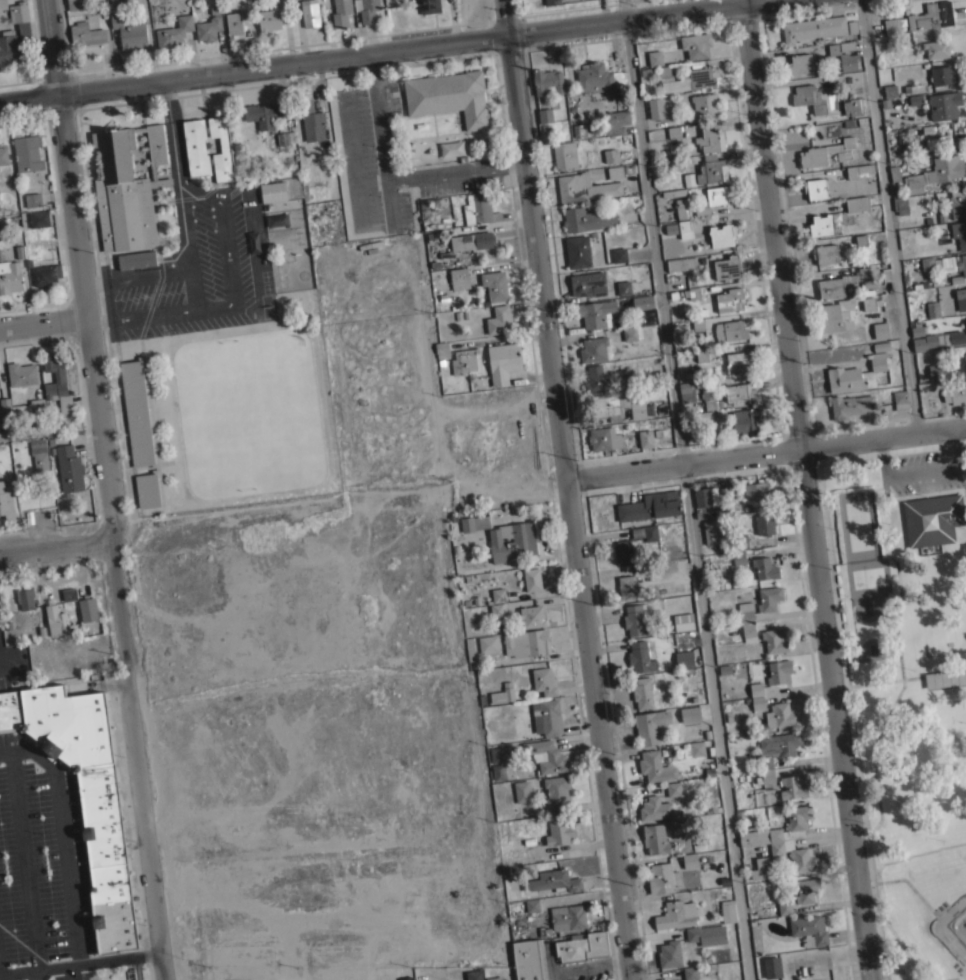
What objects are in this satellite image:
building: (552, 2)
building: (3, 4)
building: (73, 5)
building: (427, 5)
building: (366, 9)
building: (341, 12)
building: (309, 13)
building: (0, 16)
building: (931, 16)
building: (269, 20)
building: (209, 25)
building: (234, 25)
building: (891, 25)
building: (814, 29)
building: (128, 30)
building: (174, 32)
building: (15, 34)
building: (85, 34)
building: (696, 45)
building: (936, 48)
road: (378, 51)
building: (844, 54)
building: (655, 58)
building: (799, 63)
building: (942, 75)
building: (598, 77)
building: (687, 78)
building: (838, 80)
building: (547, 82)
building: (913, 88)
building: (889, 90)
building: (449, 96)
building: (808, 98)
building: (915, 99)
building: (706, 105)
building: (944, 105)
building: (853, 106)
building: (663, 112)
building: (266, 114)
building: (544, 115)
building: (307, 121)
building: (615, 121)
building: (583, 130)
building: (673, 132)
building: (282, 137)
building: (710, 140)
building: (195, 147)
building: (221, 149)
building: (27, 152)
building: (825, 152)
road: (174, 154)
building: (3, 155)
road: (349, 155)
building: (564, 155)
building: (610, 155)
building: (676, 163)
building: (711, 169)
building: (857, 170)
building: (611, 172)
building: (894, 172)
building: (935, 173)
road: (391, 178)
building: (584, 187)
building: (126, 188)
building: (815, 188)
building: (273, 192)
building: (673, 192)
building: (31, 198)
building: (0, 199)
building: (713, 199)
road: (355, 200)
road: (391, 202)
building: (431, 202)
building: (857, 203)
building: (958, 203)
building: (900, 204)
building: (681, 208)
building: (479, 209)
road: (889, 217)
building: (38, 218)
building: (586, 218)
building: (821, 225)
building: (366, 227)
building: (671, 228)
building: (684, 228)
building: (959, 233)
building: (722, 234)
building: (481, 239)
building: (861, 240)
road: (187, 249)
building: (577, 252)
building: (825, 253)
building: (618, 254)
building: (136, 260)
building: (926, 262)
building: (681, 264)
building: (962, 264)
building: (726, 267)
road: (136, 273)
building: (45, 274)
parking lot: (190, 275)
building: (10, 276)
building: (437, 276)
building: (458, 278)
building: (840, 283)
building: (587, 284)
building: (494, 285)
building: (623, 287)
building: (693, 292)
building: (960, 298)
building: (730, 299)
road: (214, 302)
building: (642, 302)
building: (870, 303)
building: (933, 309)
building: (596, 313)
building: (835, 315)
building: (498, 319)
building: (965, 321)
road: (43, 324)
building: (698, 324)
building: (730, 330)
building: (880, 330)
building: (629, 333)
building: (954, 338)
building: (919, 344)
building: (596, 349)
building: (701, 355)
building: (458, 358)
building: (964, 359)
building: (738, 361)
building: (502, 362)
building: (935, 371)
building: (21, 373)
building: (855, 374)
building: (594, 379)
building: (56, 382)
building: (686, 391)
building: (740, 392)
building: (952, 393)
building: (708, 395)
building: (900, 399)
building: (4, 403)
building: (850, 405)
building: (28, 407)
building: (614, 407)
building: (138, 412)
building: (744, 420)
building: (51, 424)
building: (713, 430)
building: (604, 438)
building: (645, 438)
building: (39, 455)
road: (764, 455)
building: (69, 468)
road: (922, 470)
parking lot: (923, 472)
building: (149, 489)
road: (805, 489)
road: (105, 490)
road: (565, 490)
road: (686, 490)
building: (756, 491)
building: (724, 493)
building: (705, 496)
building: (6, 499)
building: (650, 506)
building: (928, 519)
building: (474, 523)
building: (764, 524)
park: (860, 525)
building: (645, 532)
building: (709, 532)
building: (511, 541)
building: (738, 542)
road: (55, 548)
building: (623, 551)
building: (757, 565)
building: (532, 579)
building: (627, 587)
building: (498, 595)
building: (25, 597)
building: (768, 598)
building: (87, 609)
building: (496, 610)
building: (532, 616)
building: (636, 619)
building: (56, 620)
building: (747, 620)
building: (683, 621)
park: (871, 628)
building: (774, 641)
building: (488, 643)
building: (526, 643)
building: (469, 648)
building: (640, 657)
building: (684, 658)
building: (778, 671)
building: (945, 677)
building: (544, 681)
building: (756, 689)
park: (908, 689)
building: (642, 692)
building: (497, 696)
building: (756, 702)
building: (690, 713)
building: (781, 715)
building: (546, 717)
building: (650, 725)
building: (781, 743)
building: (696, 748)
building: (545, 756)
building: (654, 766)
building: (766, 771)
building: (792, 786)
building: (556, 789)
building: (522, 791)
building: (84, 795)
building: (659, 803)
building: (559, 831)
road: (61, 836)
building: (655, 839)
building: (785, 839)
building: (517, 844)
road: (23, 860)
building: (690, 860)
parking lot: (41, 869)
building: (761, 869)
building: (661, 878)
building: (555, 881)
building: (807, 889)
building: (532, 905)
building: (784, 905)
building: (727, 911)
building: (676, 914)
building: (567, 917)
building: (809, 930)
building: (706, 935)
building: (582, 947)
park: (955, 952)
building: (669, 954)
building: (528, 959)
road: (78, 963)
road: (590, 965)
building: (772, 967)
road: (137, 968)
road: (71, 972)
building: (690, 972)
road: (37, 974)
building: (406, 974)
building: (473, 974)
road: (553, 975)
road: (4, 976)
building: (494, 978)
building: (680, 979)

